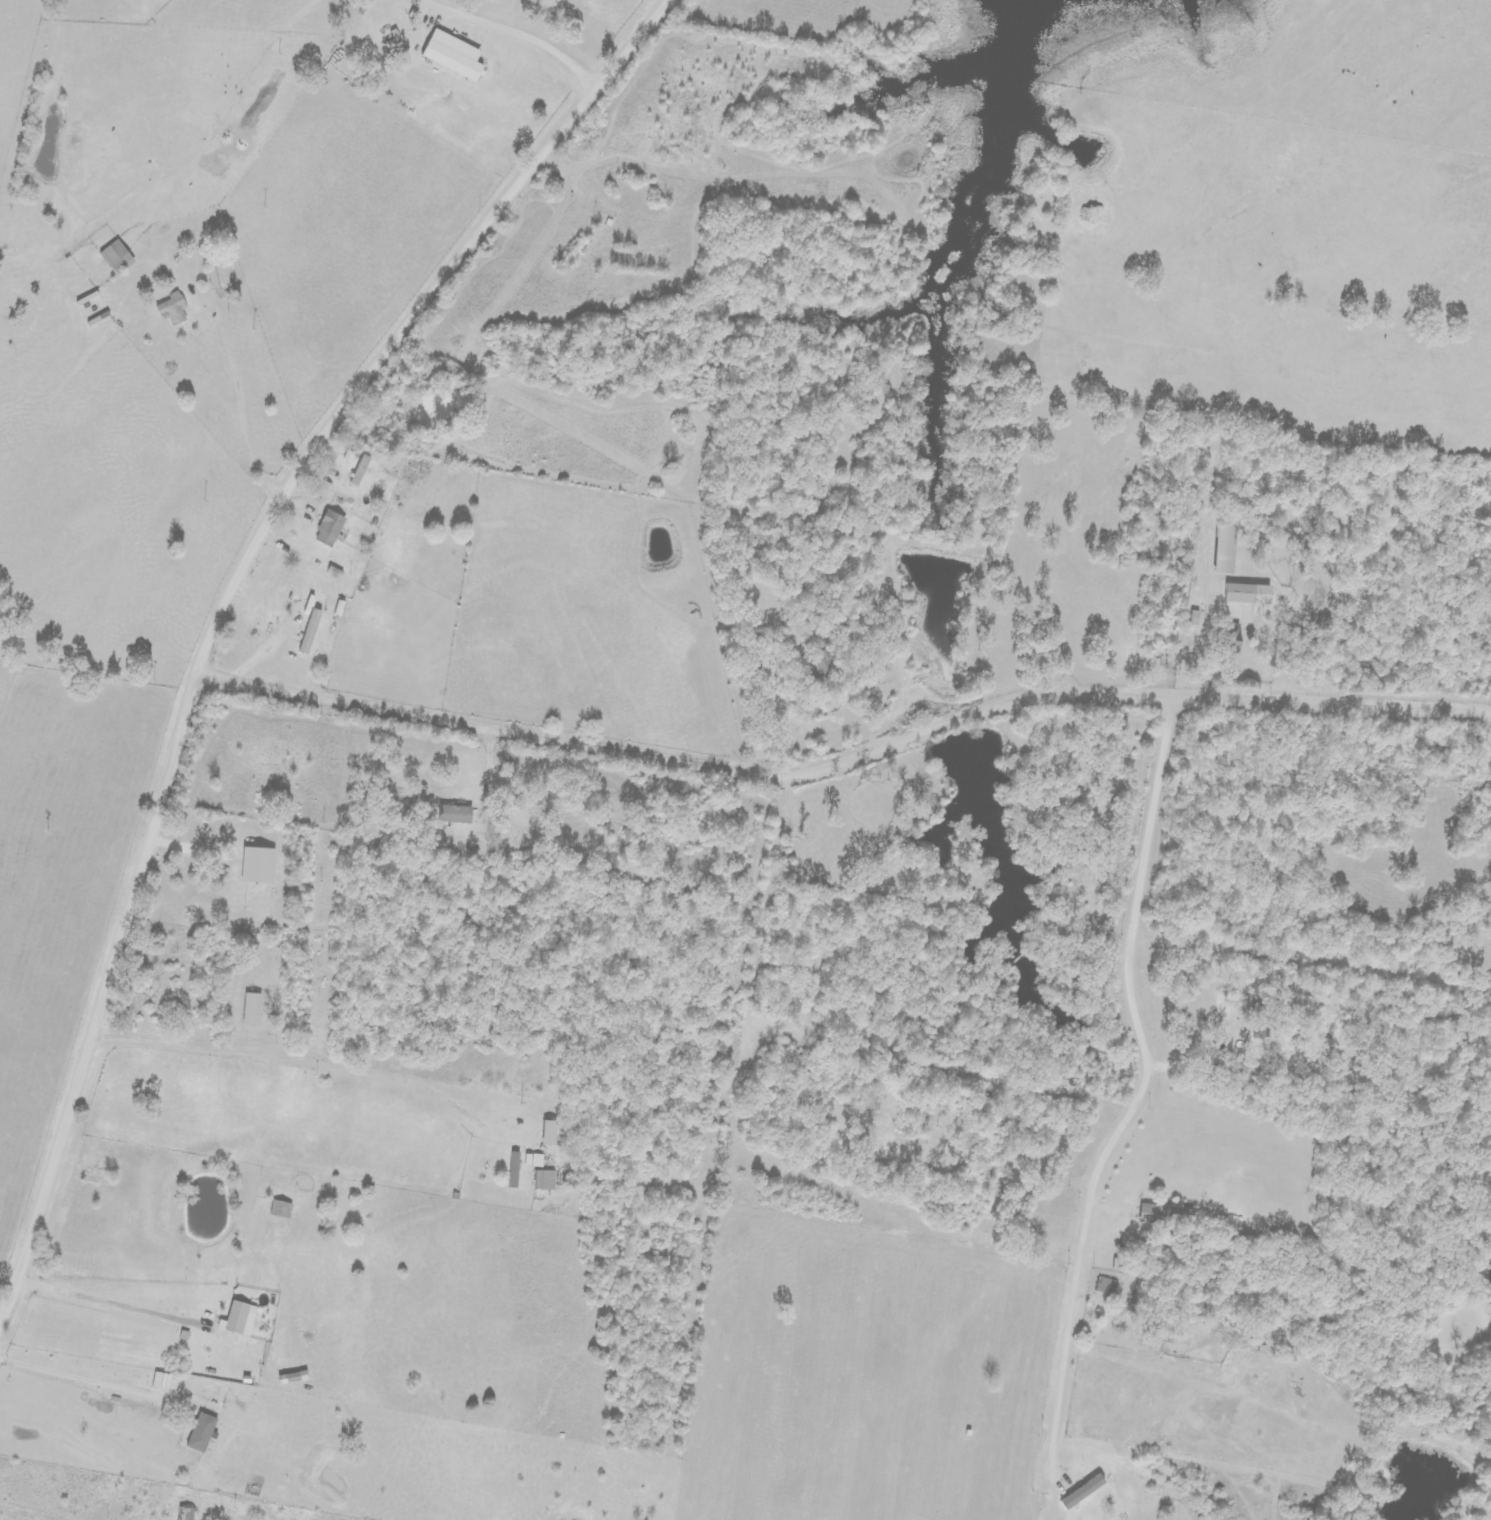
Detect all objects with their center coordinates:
building: (452, 55)
building: (116, 257)
building: (173, 309)
building: (360, 470)
building: (329, 528)
building: (1224, 549)
building: (1247, 593)
road: (226, 613)
building: (310, 631)
building: (1227, 640)
building: (824, 662)
road: (847, 757)
building: (454, 814)
building: (257, 865)
building: (251, 1009)
road: (1156, 1090)
building: (549, 1133)
building: (538, 1161)
building: (545, 1180)
building: (1162, 1213)
building: (239, 1319)
building: (165, 1382)
building: (201, 1433)
building: (1082, 1492)
building: (185, 1514)

